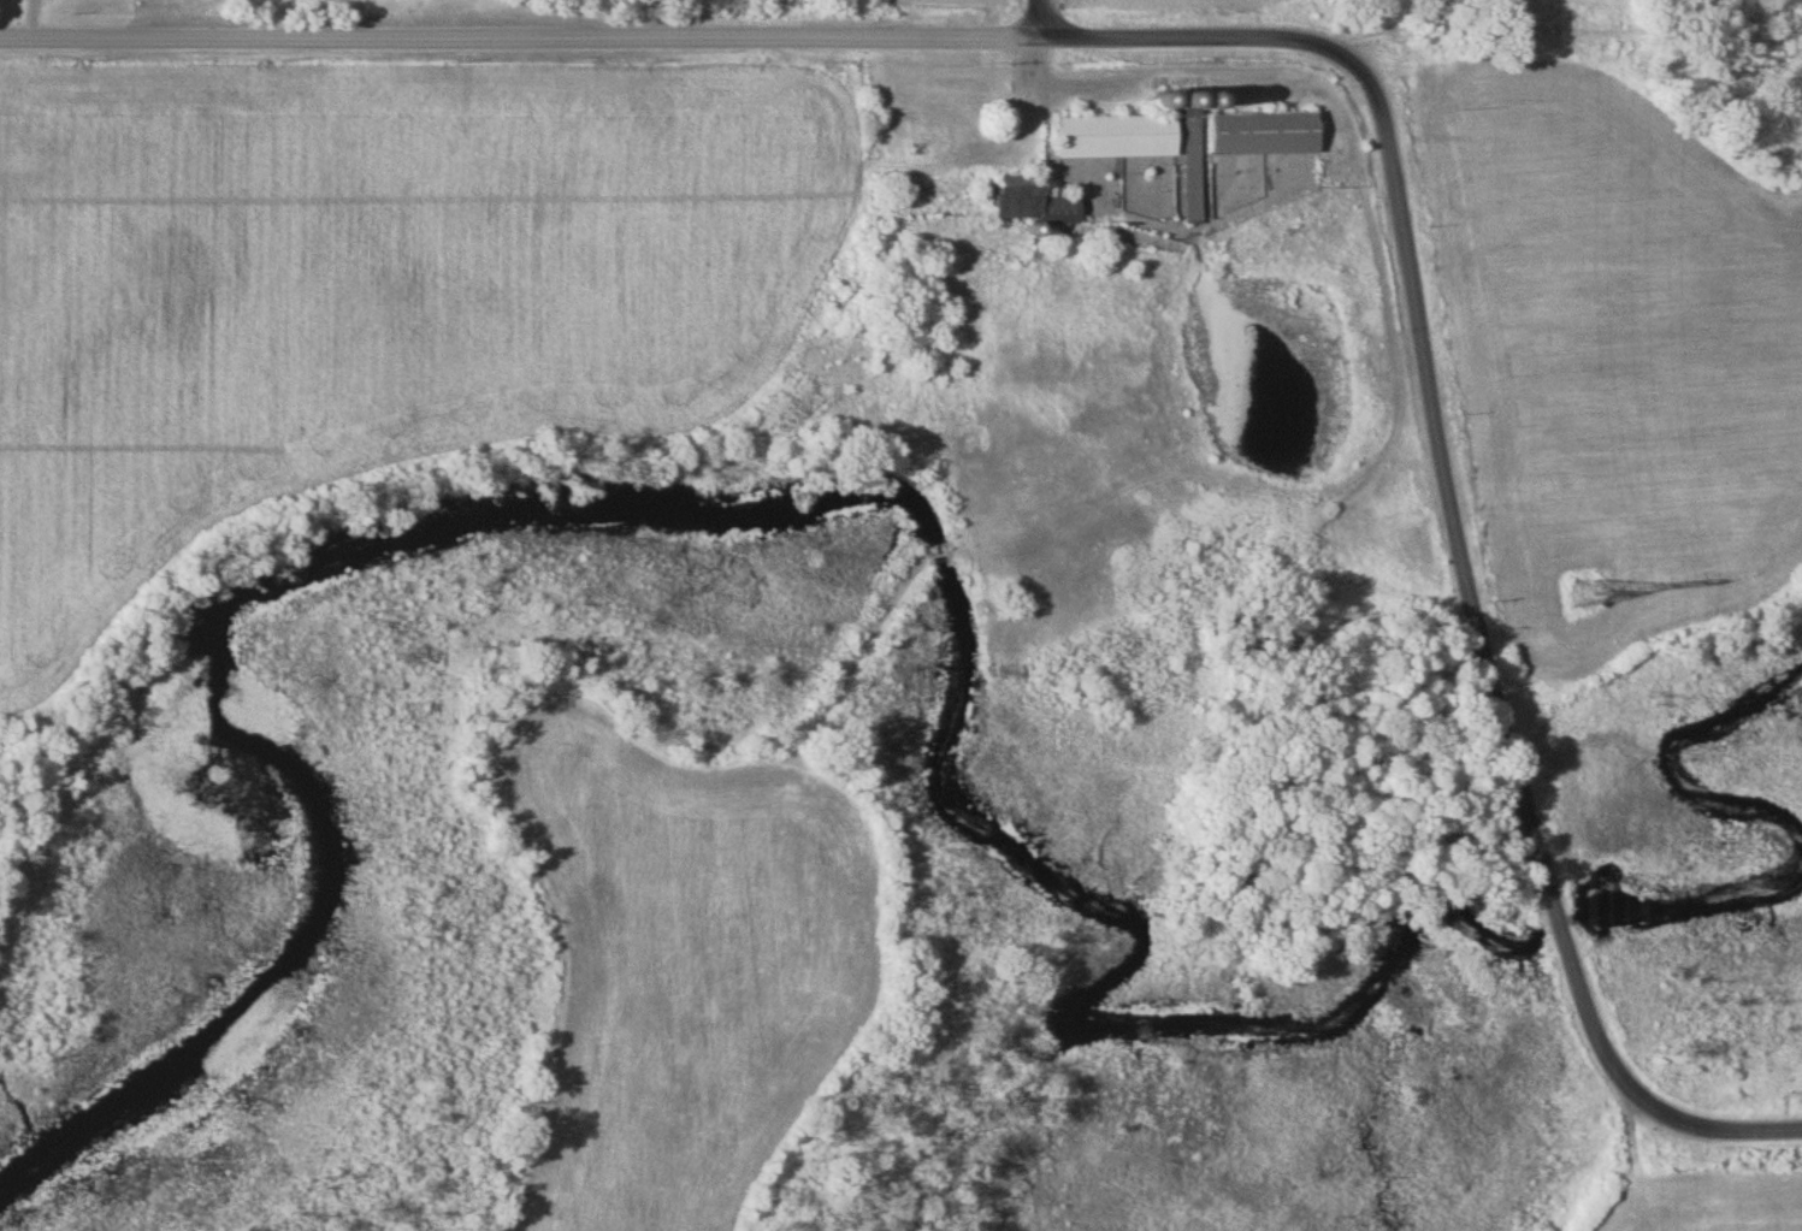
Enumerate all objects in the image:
road: (1034, 17)
road: (1306, 37)
building: (1113, 137)
building: (1029, 202)
river: (755, 503)
power tower: (1582, 597)
river: (1773, 804)

